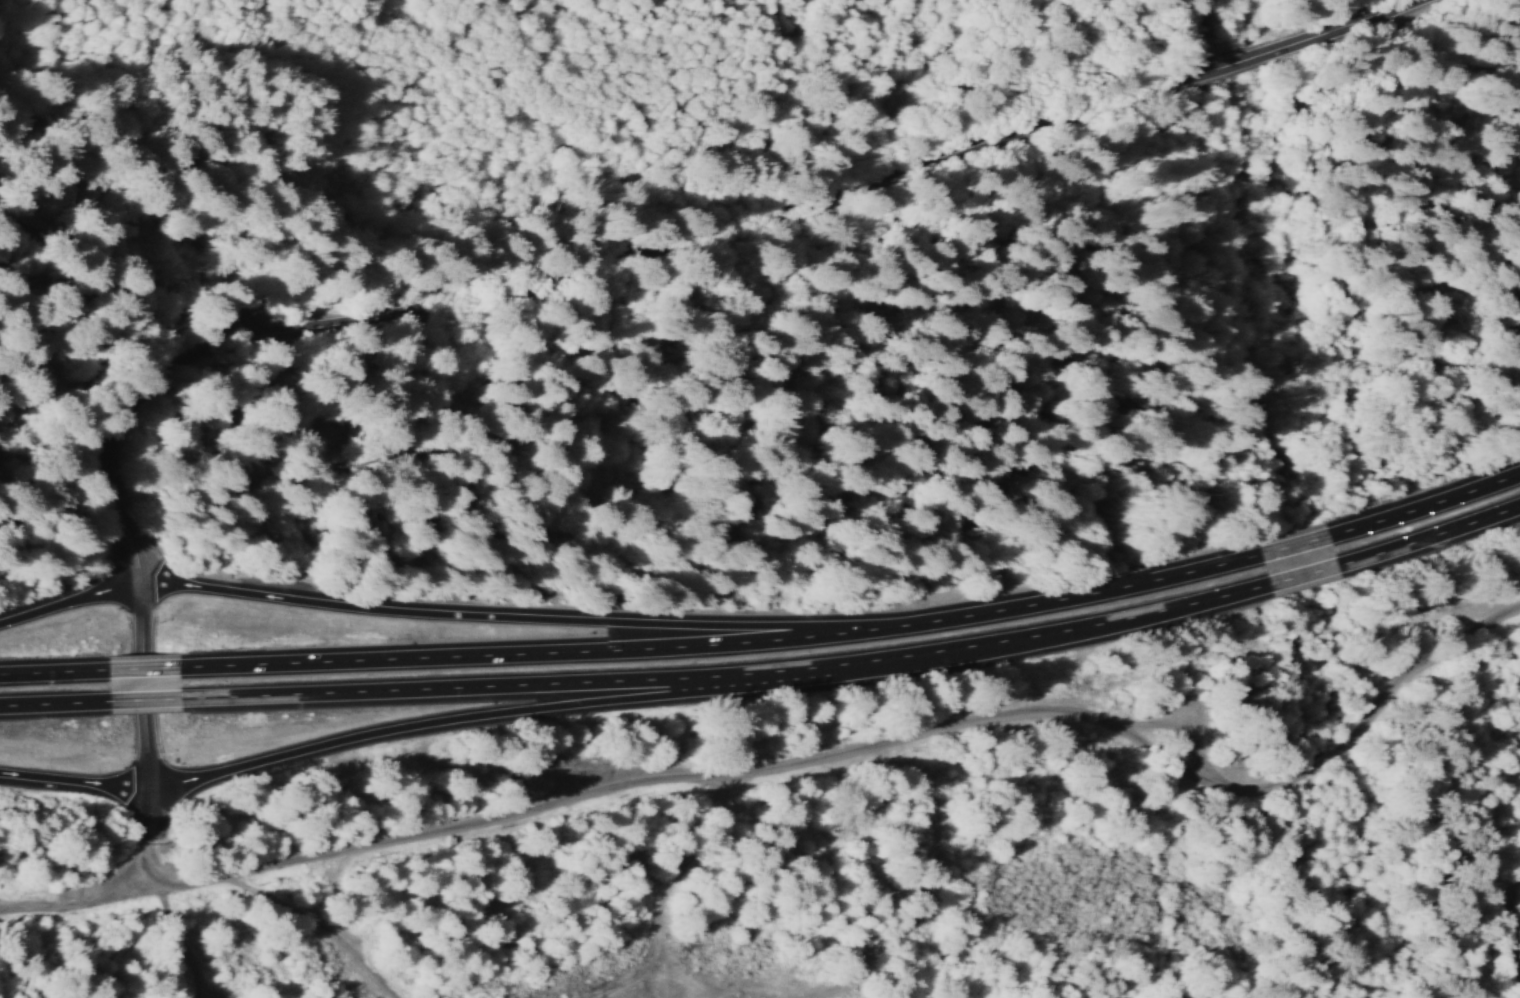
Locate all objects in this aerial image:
road: (1351, 27)
road: (1228, 75)
road: (128, 89)
road: (149, 225)
road: (691, 265)
road: (94, 370)
road: (147, 474)
road: (1423, 512)
road: (1430, 544)
road: (1295, 550)
road: (1307, 579)
road: (1129, 589)
road: (69, 606)
road: (502, 622)
road: (931, 626)
road: (141, 636)
road: (526, 660)
road: (148, 674)
road: (56, 676)
road: (733, 679)
road: (150, 703)
road: (58, 706)
road: (469, 723)
road: (145, 739)
road: (803, 763)
road: (72, 782)
road: (148, 837)
road: (1519, 914)

